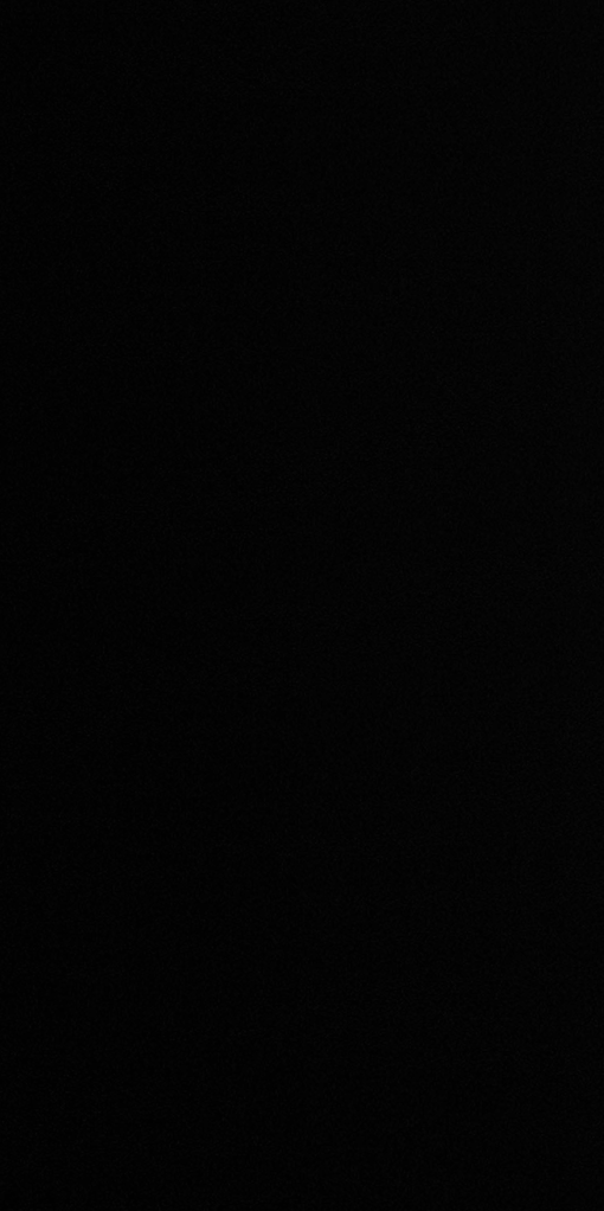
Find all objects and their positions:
river: (476, 987)

